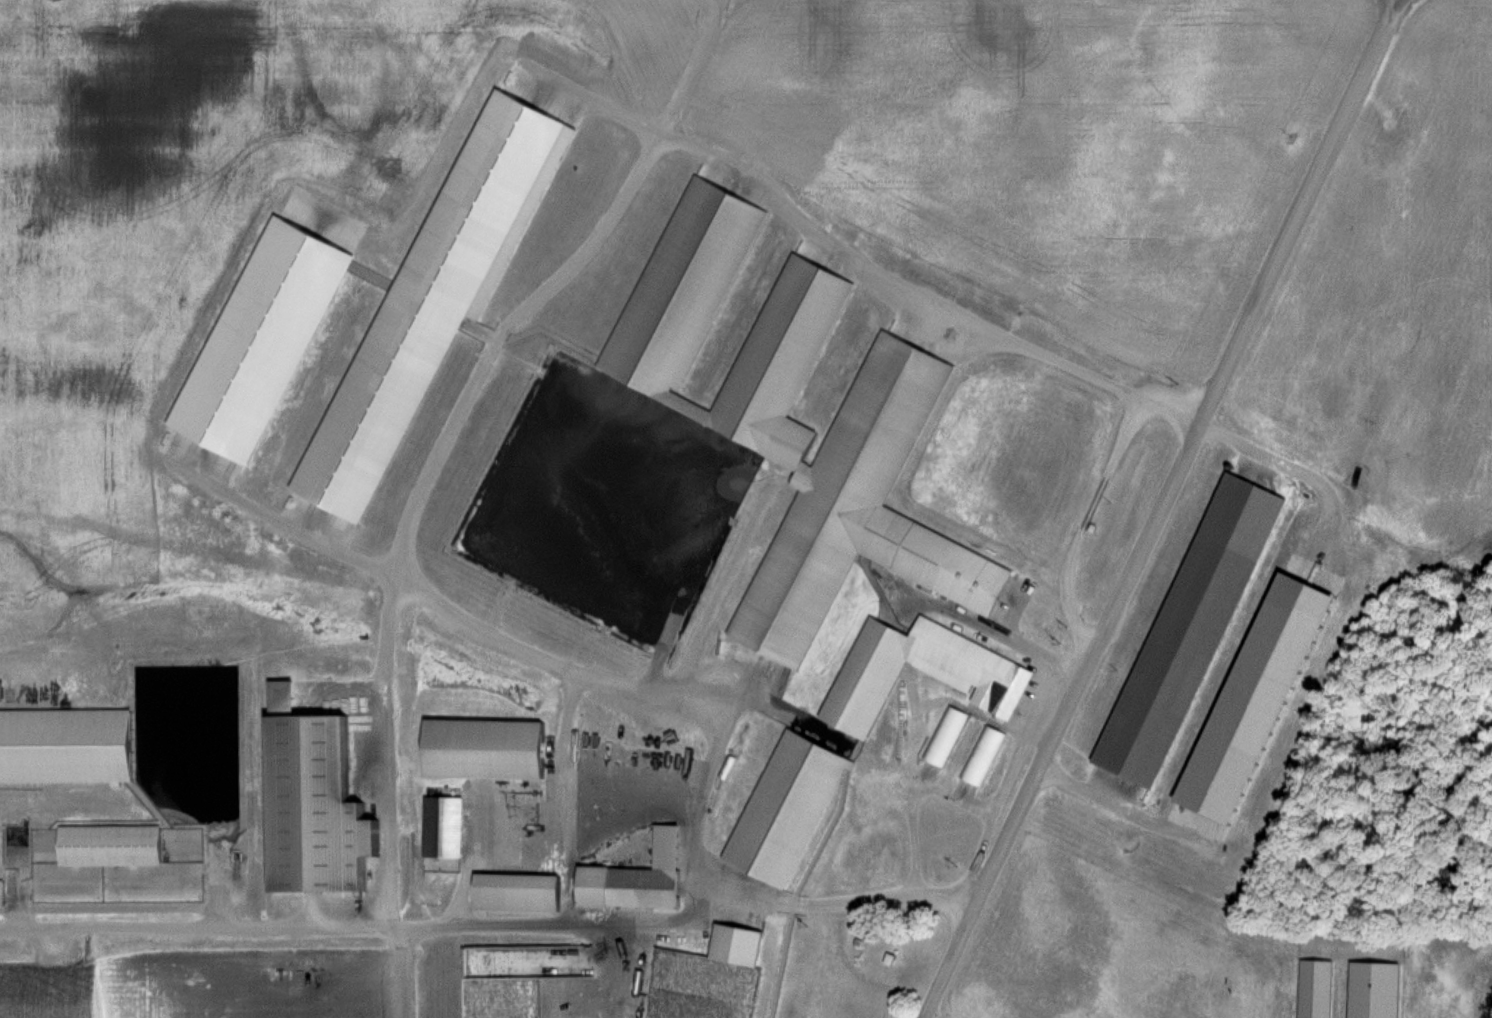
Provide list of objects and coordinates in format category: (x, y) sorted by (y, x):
road: (855, 256)
building: (766, 427)
road: (1143, 504)
road: (1070, 511)
road: (486, 626)
building: (984, 676)
building: (946, 735)
building: (69, 746)
building: (489, 749)
building: (983, 754)
building: (790, 807)
building: (308, 812)
building: (446, 826)
building: (114, 846)
building: (641, 878)
building: (513, 881)
road: (514, 912)
road: (198, 927)
building: (738, 945)
building: (1318, 988)
building: (1379, 990)
building: (858, 1003)
building: (504, 1017)
road: (904, 1017)

